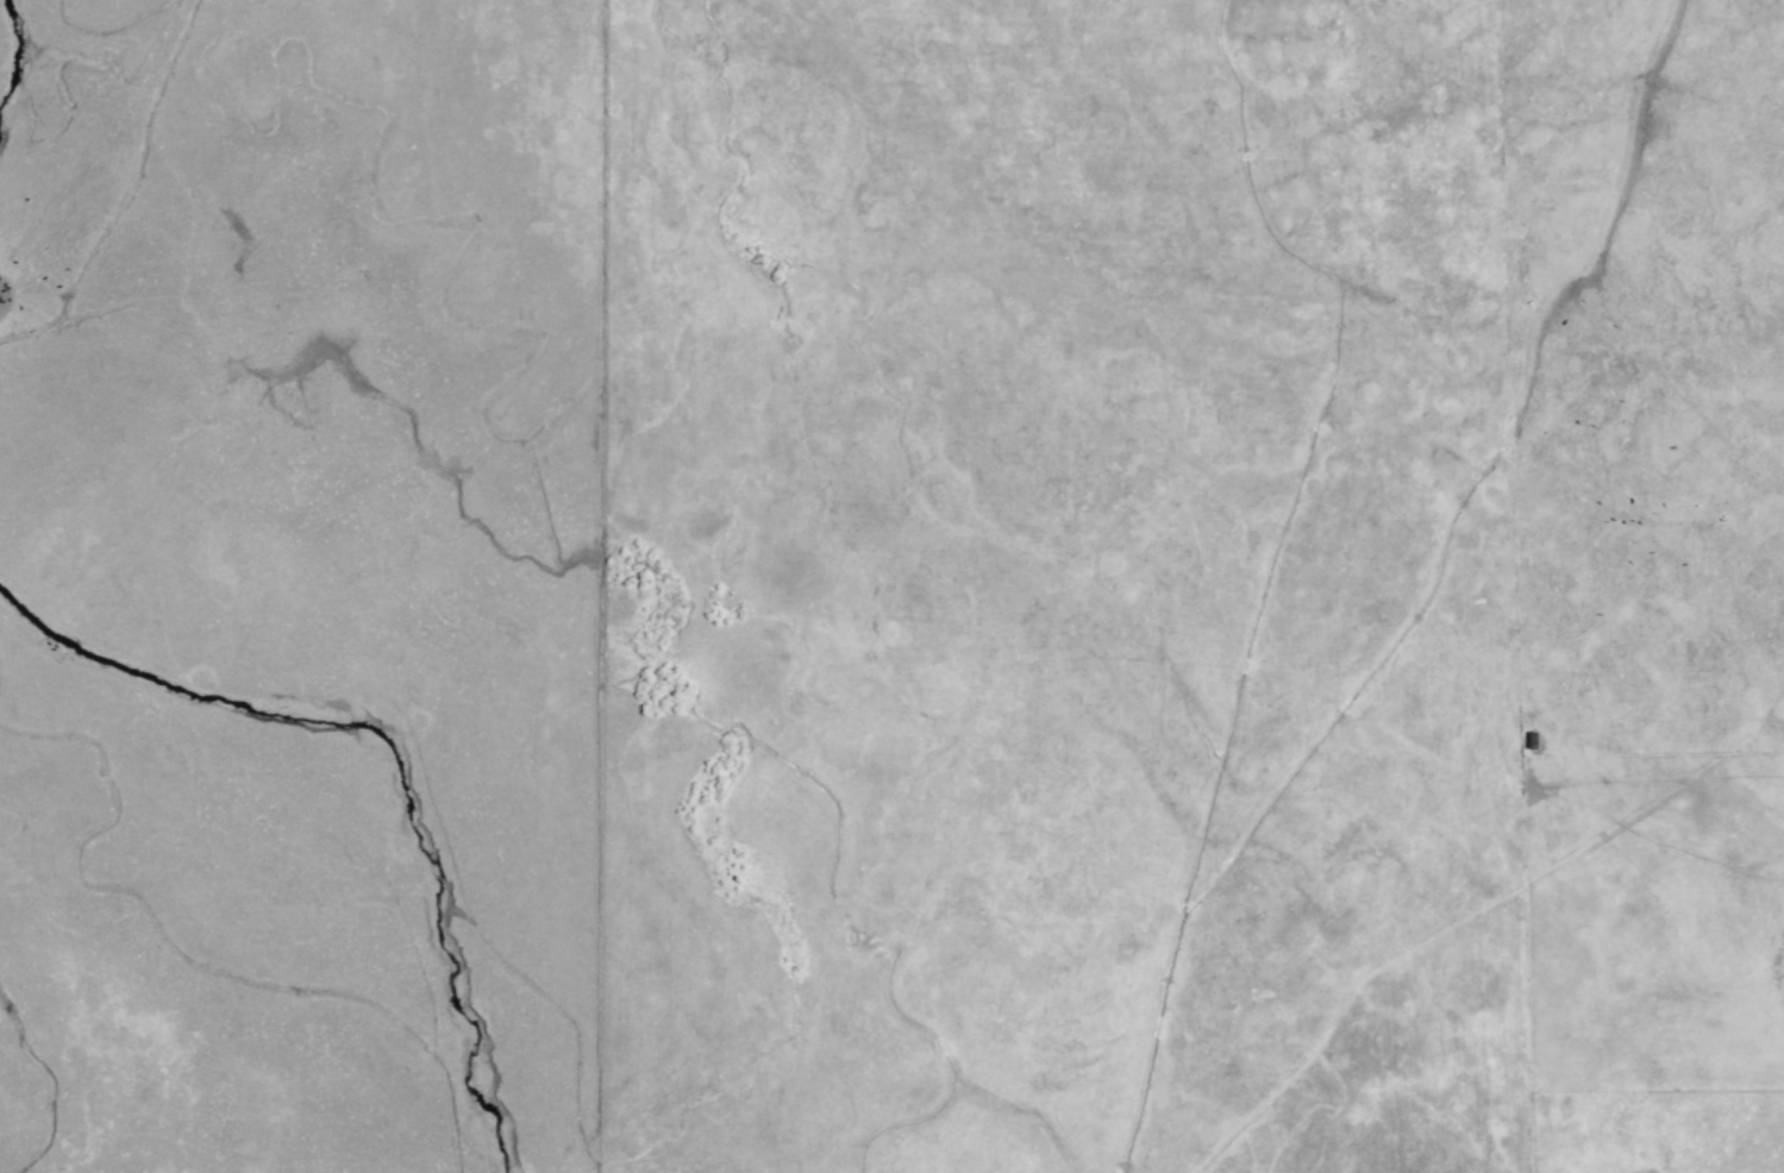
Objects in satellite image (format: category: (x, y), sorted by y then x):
crop: (1379, 584)
crop: (851, 822)

